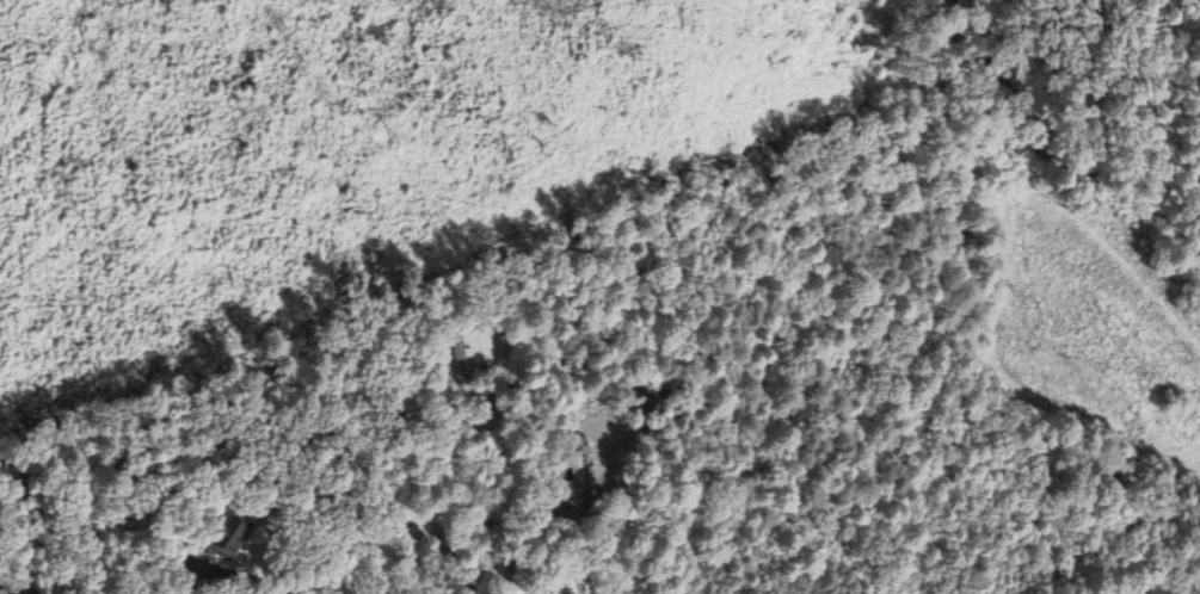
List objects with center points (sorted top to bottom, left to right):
building: (459, 355)
building: (578, 403)
building: (486, 410)
road: (541, 471)
building: (576, 474)
building: (228, 534)
road: (574, 546)
building: (192, 565)
road: (247, 577)
building: (61, 578)
building: (193, 589)

